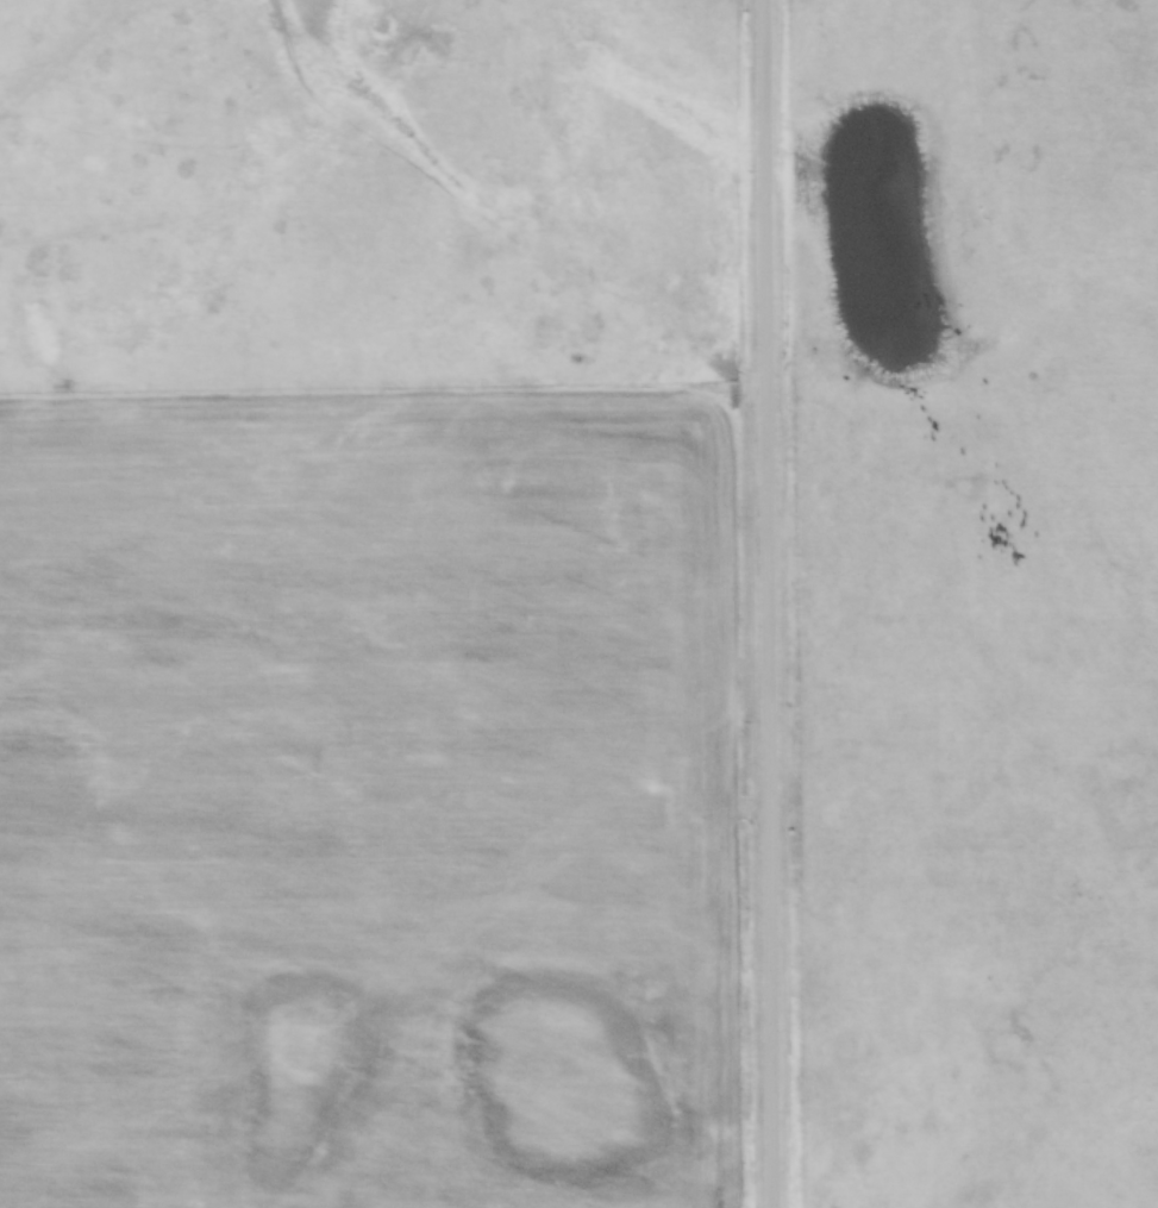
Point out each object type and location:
road: (769, 603)

